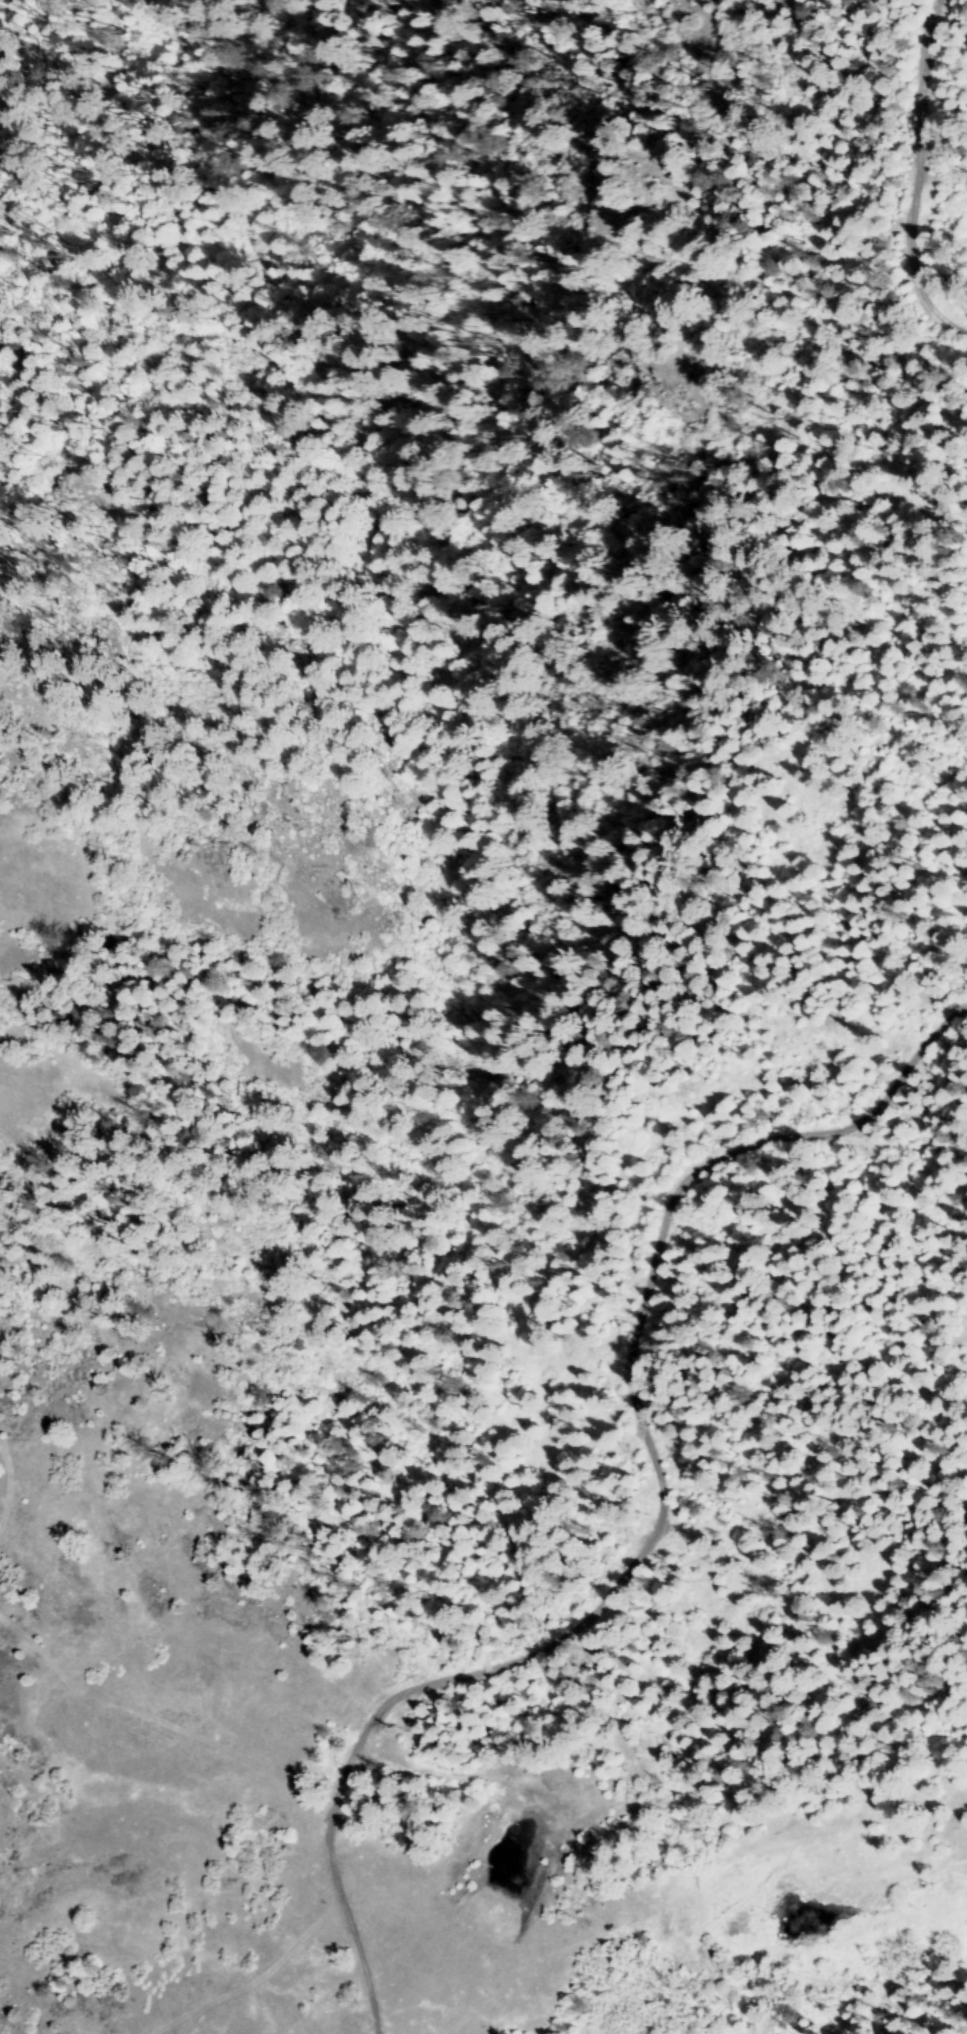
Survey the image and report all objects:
road: (933, 170)

